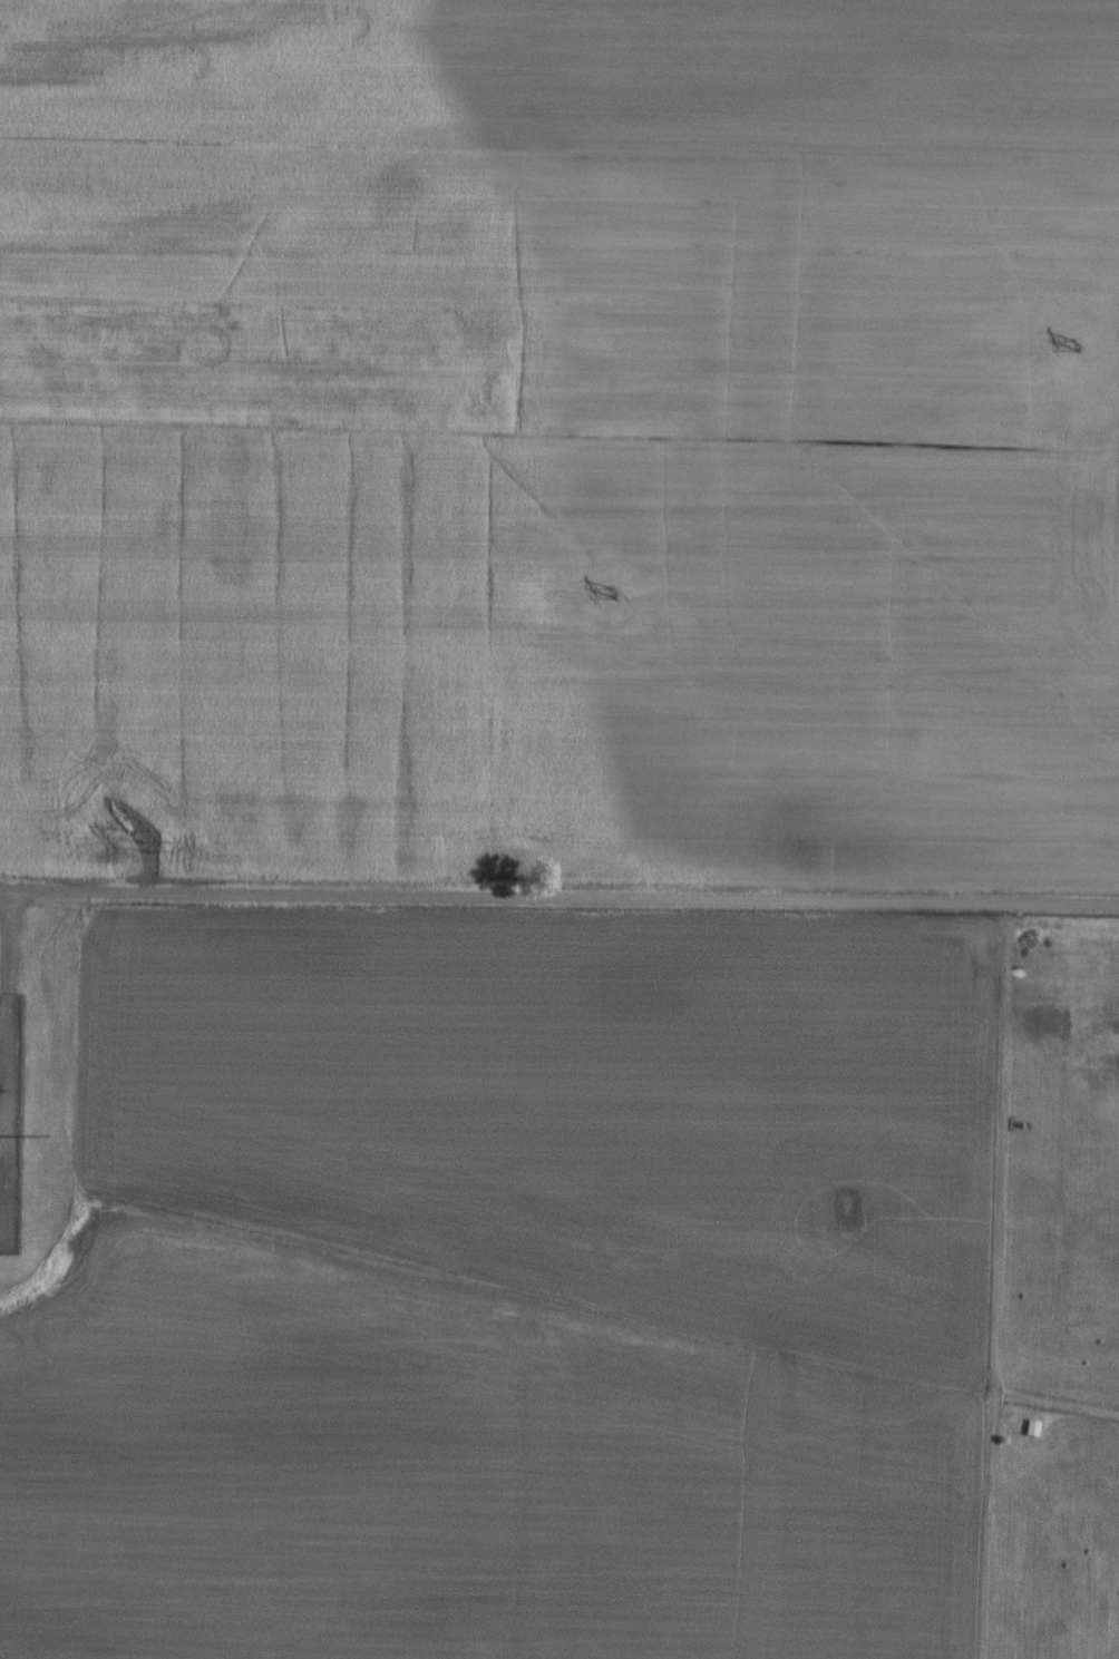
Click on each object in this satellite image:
road: (558, 898)
road: (6, 1045)
road: (1000, 1178)

